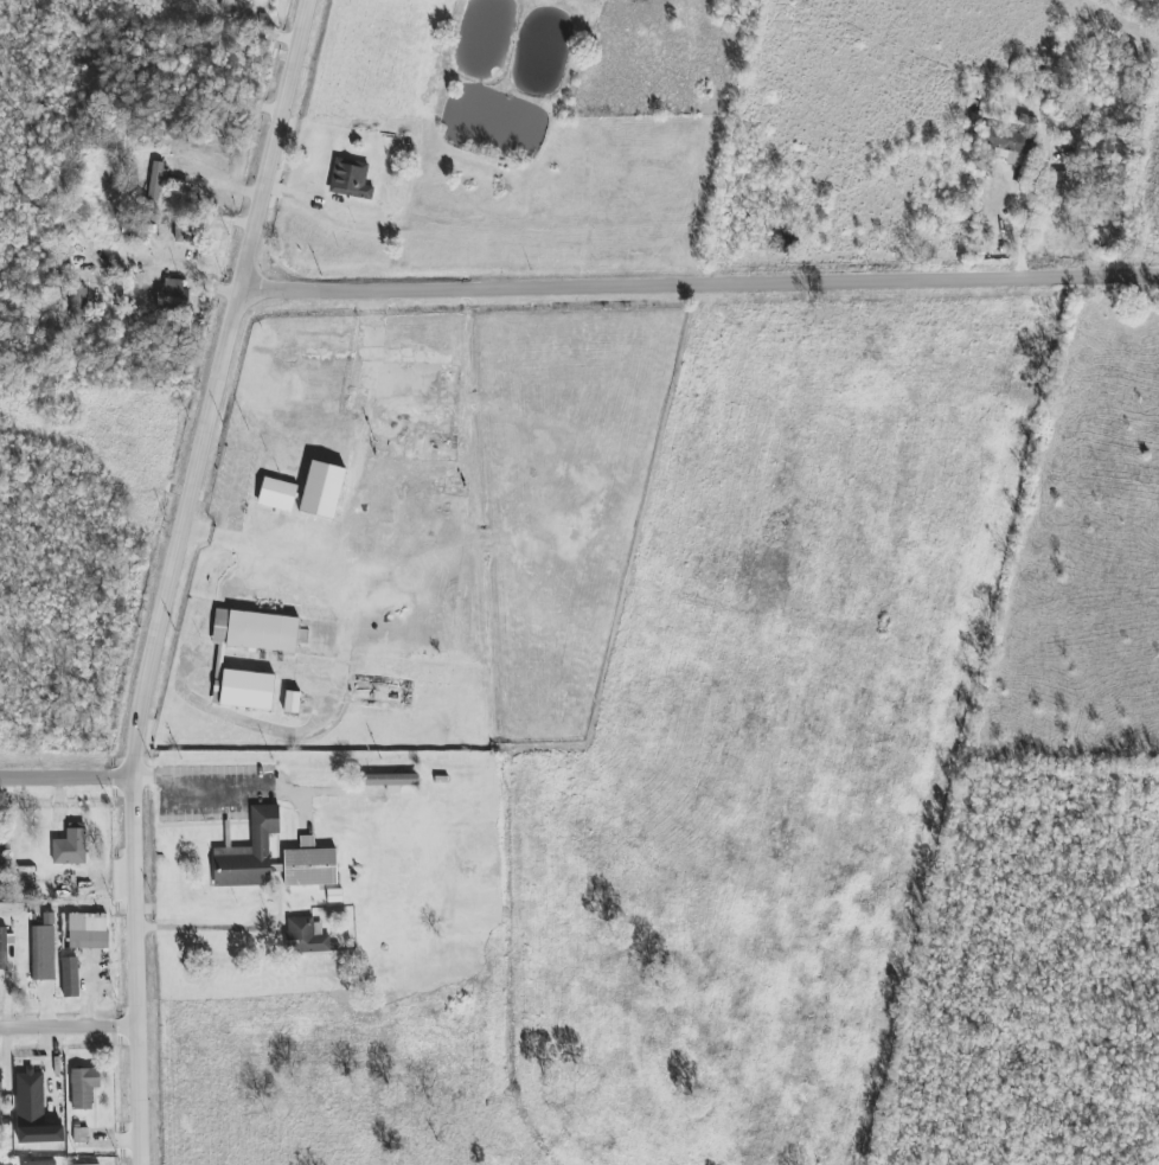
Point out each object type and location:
building: (228, 5)
building: (1011, 146)
road: (277, 148)
building: (204, 162)
building: (350, 179)
building: (155, 181)
building: (1061, 190)
building: (137, 231)
road: (172, 268)
road: (700, 288)
building: (173, 295)
building: (77, 305)
building: (277, 494)
road: (273, 551)
road: (357, 608)
building: (219, 661)
building: (292, 703)
road: (141, 724)
road: (68, 776)
building: (391, 780)
road: (241, 787)
building: (70, 846)
building: (249, 852)
building: (309, 864)
building: (1, 882)
road: (205, 928)
building: (87, 930)
building: (306, 936)
building: (5, 946)
building: (41, 953)
building: (69, 977)
road: (71, 1026)
building: (0, 1081)
building: (83, 1087)
building: (33, 1112)
building: (81, 1135)
building: (39, 1163)
building: (7, 1164)
building: (97, 1164)

